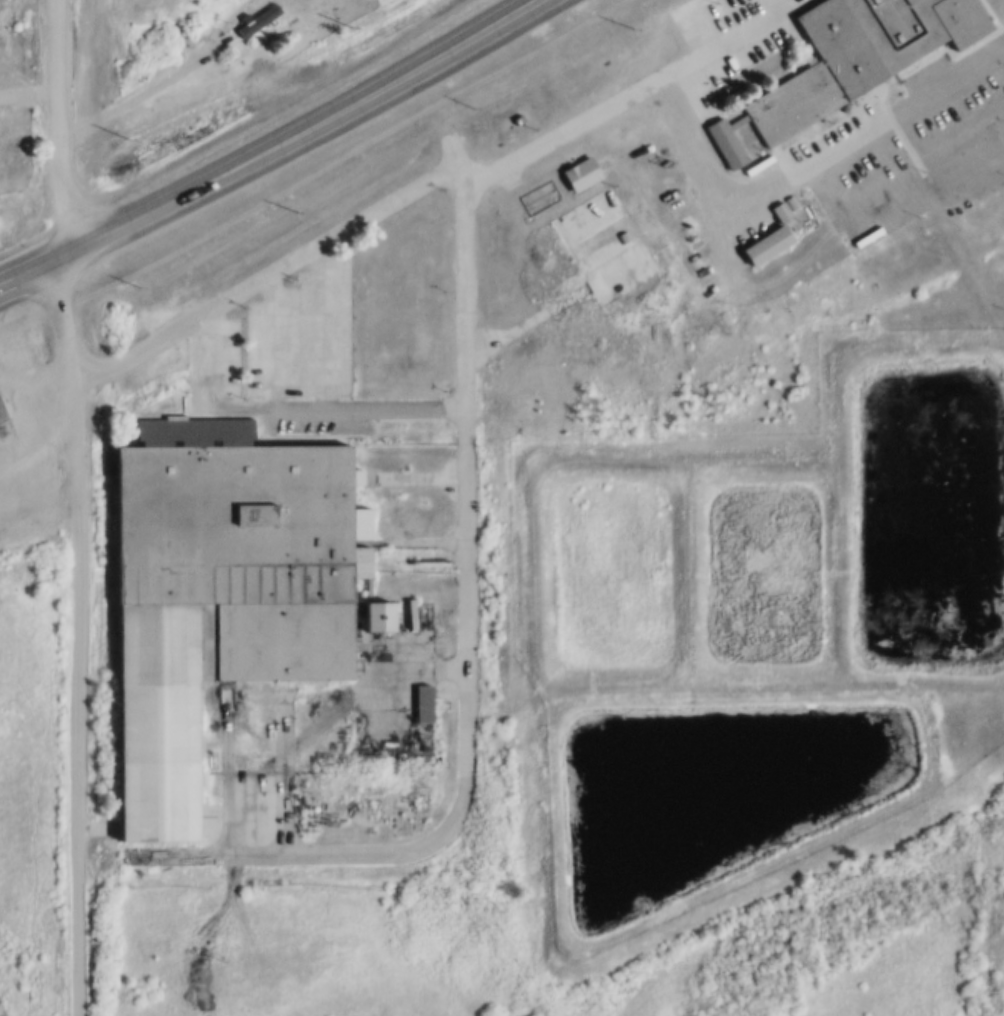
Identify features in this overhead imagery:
building: (254, 20)
building: (858, 52)
road: (134, 93)
road: (64, 122)
road: (291, 136)
building: (729, 137)
road: (960, 153)
building: (769, 156)
road: (497, 169)
building: (792, 200)
building: (592, 219)
building: (772, 234)
road: (23, 273)
parking lot: (304, 330)
road: (142, 346)
parking lot: (219, 357)
road: (35, 417)
building: (5, 422)
building: (218, 589)
building: (377, 614)
road: (79, 636)
road: (468, 687)
building: (424, 701)

